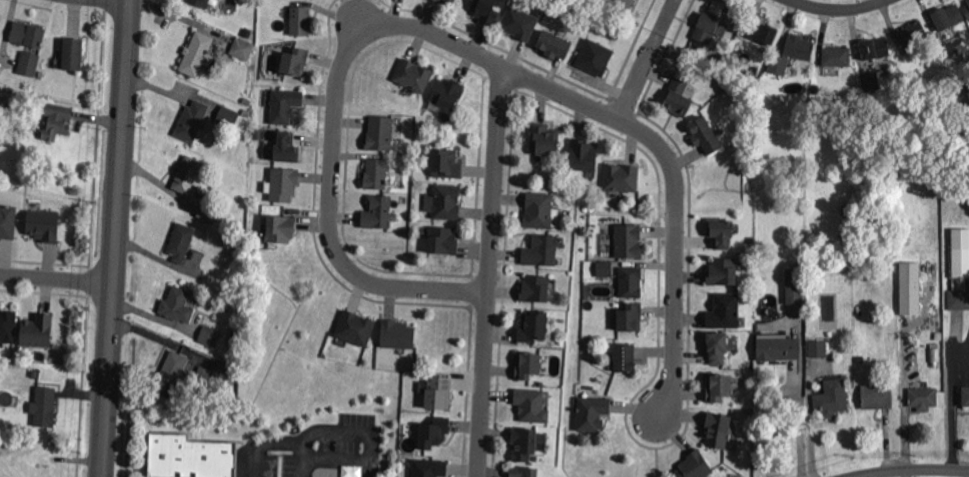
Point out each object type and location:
building: (449, 0)
building: (968, 1)
building: (198, 3)
building: (626, 3)
building: (715, 6)
building: (967, 8)
road: (841, 9)
building: (485, 10)
road: (668, 14)
building: (948, 16)
building: (299, 21)
building: (518, 23)
building: (707, 26)
building: (911, 30)
building: (763, 31)
building: (29, 32)
building: (248, 35)
road: (461, 39)
building: (799, 44)
building: (553, 45)
building: (875, 47)
building: (242, 50)
building: (74, 52)
building: (197, 52)
building: (594, 55)
building: (837, 55)
building: (29, 62)
building: (295, 63)
building: (779, 64)
building: (411, 73)
road: (641, 73)
building: (747, 73)
building: (41, 75)
building: (871, 80)
building: (446, 91)
building: (676, 95)
building: (248, 102)
building: (284, 106)
building: (246, 112)
building: (228, 116)
building: (57, 119)
building: (193, 119)
building: (378, 133)
building: (704, 135)
building: (544, 140)
building: (287, 149)
building: (582, 156)
building: (445, 164)
building: (374, 173)
building: (188, 174)
building: (620, 178)
building: (283, 184)
building: (446, 202)
building: (845, 208)
building: (211, 210)
building: (376, 210)
building: (538, 211)
building: (7, 221)
building: (44, 226)
building: (280, 229)
building: (723, 234)
road: (116, 238)
building: (182, 241)
building: (443, 241)
building: (627, 241)
building: (240, 243)
building: (541, 251)
building: (960, 260)
road: (494, 267)
building: (603, 268)
building: (721, 272)
road: (57, 280)
building: (630, 280)
building: (795, 284)
building: (535, 289)
building: (912, 289)
building: (959, 297)
building: (176, 303)
building: (232, 308)
building: (723, 312)
building: (629, 318)
building: (8, 326)
building: (535, 327)
building: (356, 329)
building: (38, 332)
building: (234, 335)
building: (397, 335)
building: (938, 335)
building: (209, 336)
building: (779, 346)
building: (719, 348)
building: (819, 348)
building: (934, 352)
building: (626, 359)
building: (527, 366)
building: (176, 372)
building: (204, 374)
building: (720, 389)
building: (440, 393)
building: (966, 394)
building: (878, 395)
building: (832, 397)
building: (924, 397)
road: (951, 400)
building: (229, 405)
building: (45, 406)
building: (531, 406)
building: (591, 413)
building: (717, 427)
road: (800, 427)
road: (353, 430)
building: (434, 433)
building: (523, 444)
road: (301, 449)
building: (190, 456)
building: (694, 466)
building: (430, 469)
road: (909, 469)
building: (523, 472)

